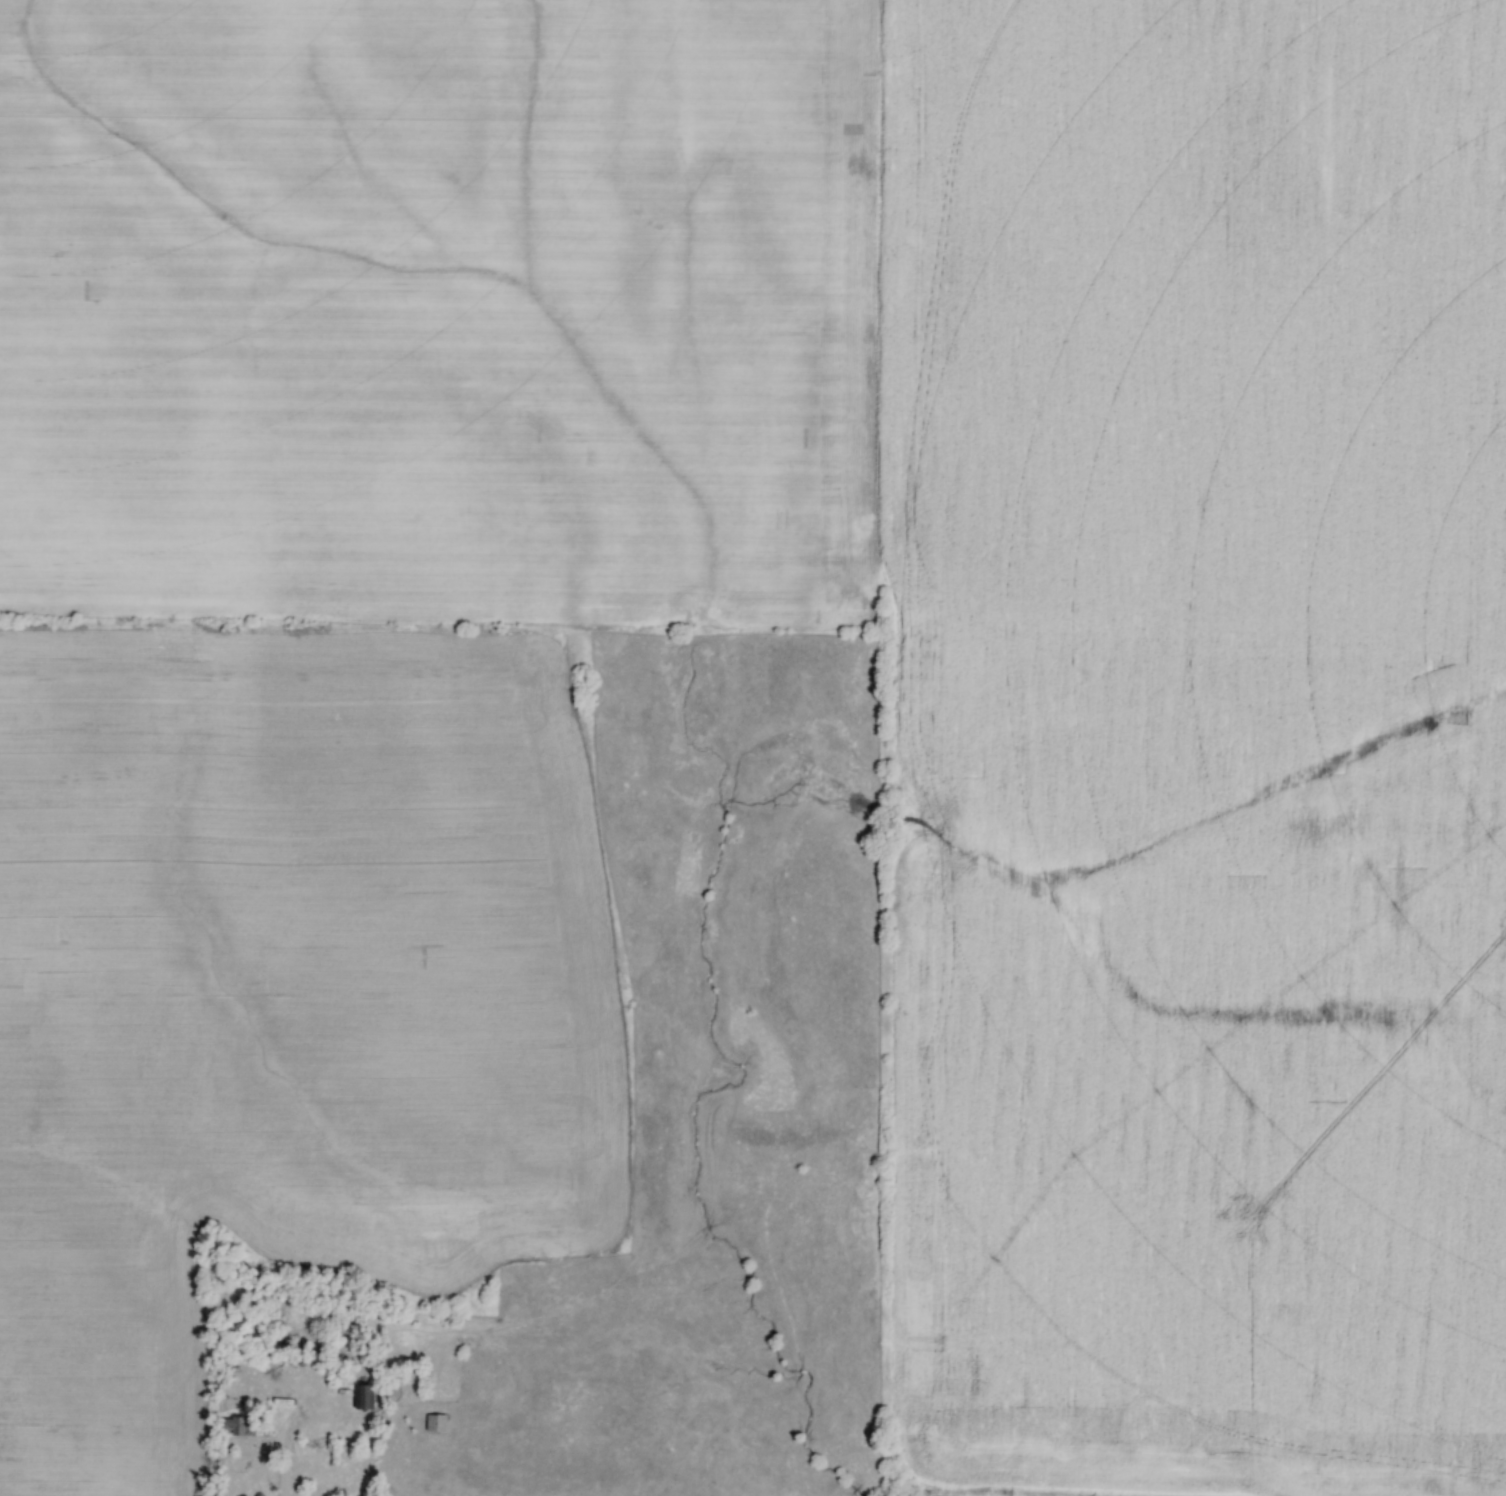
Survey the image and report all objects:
building: (363, 1396)
building: (435, 1422)
building: (238, 1426)
road: (283, 1449)

